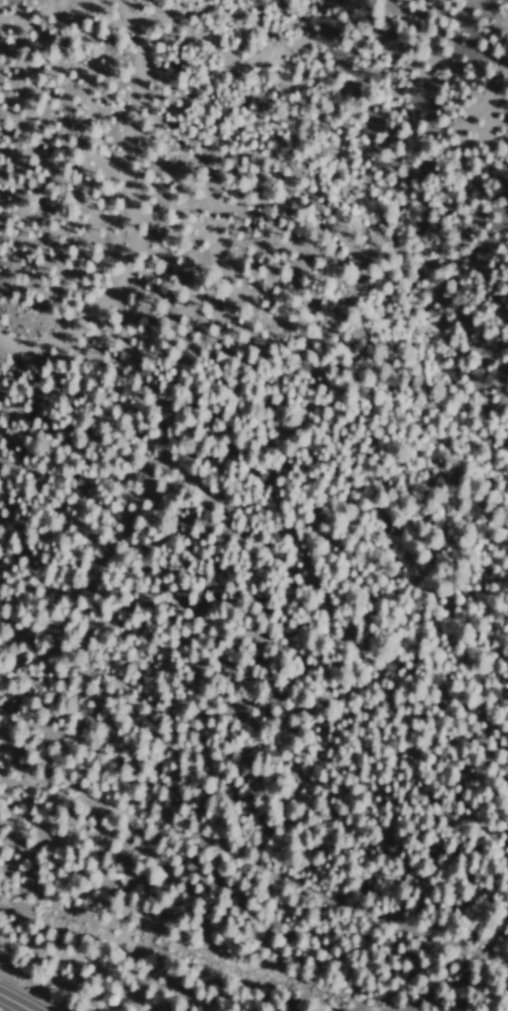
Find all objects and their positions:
road: (15, 1003)

